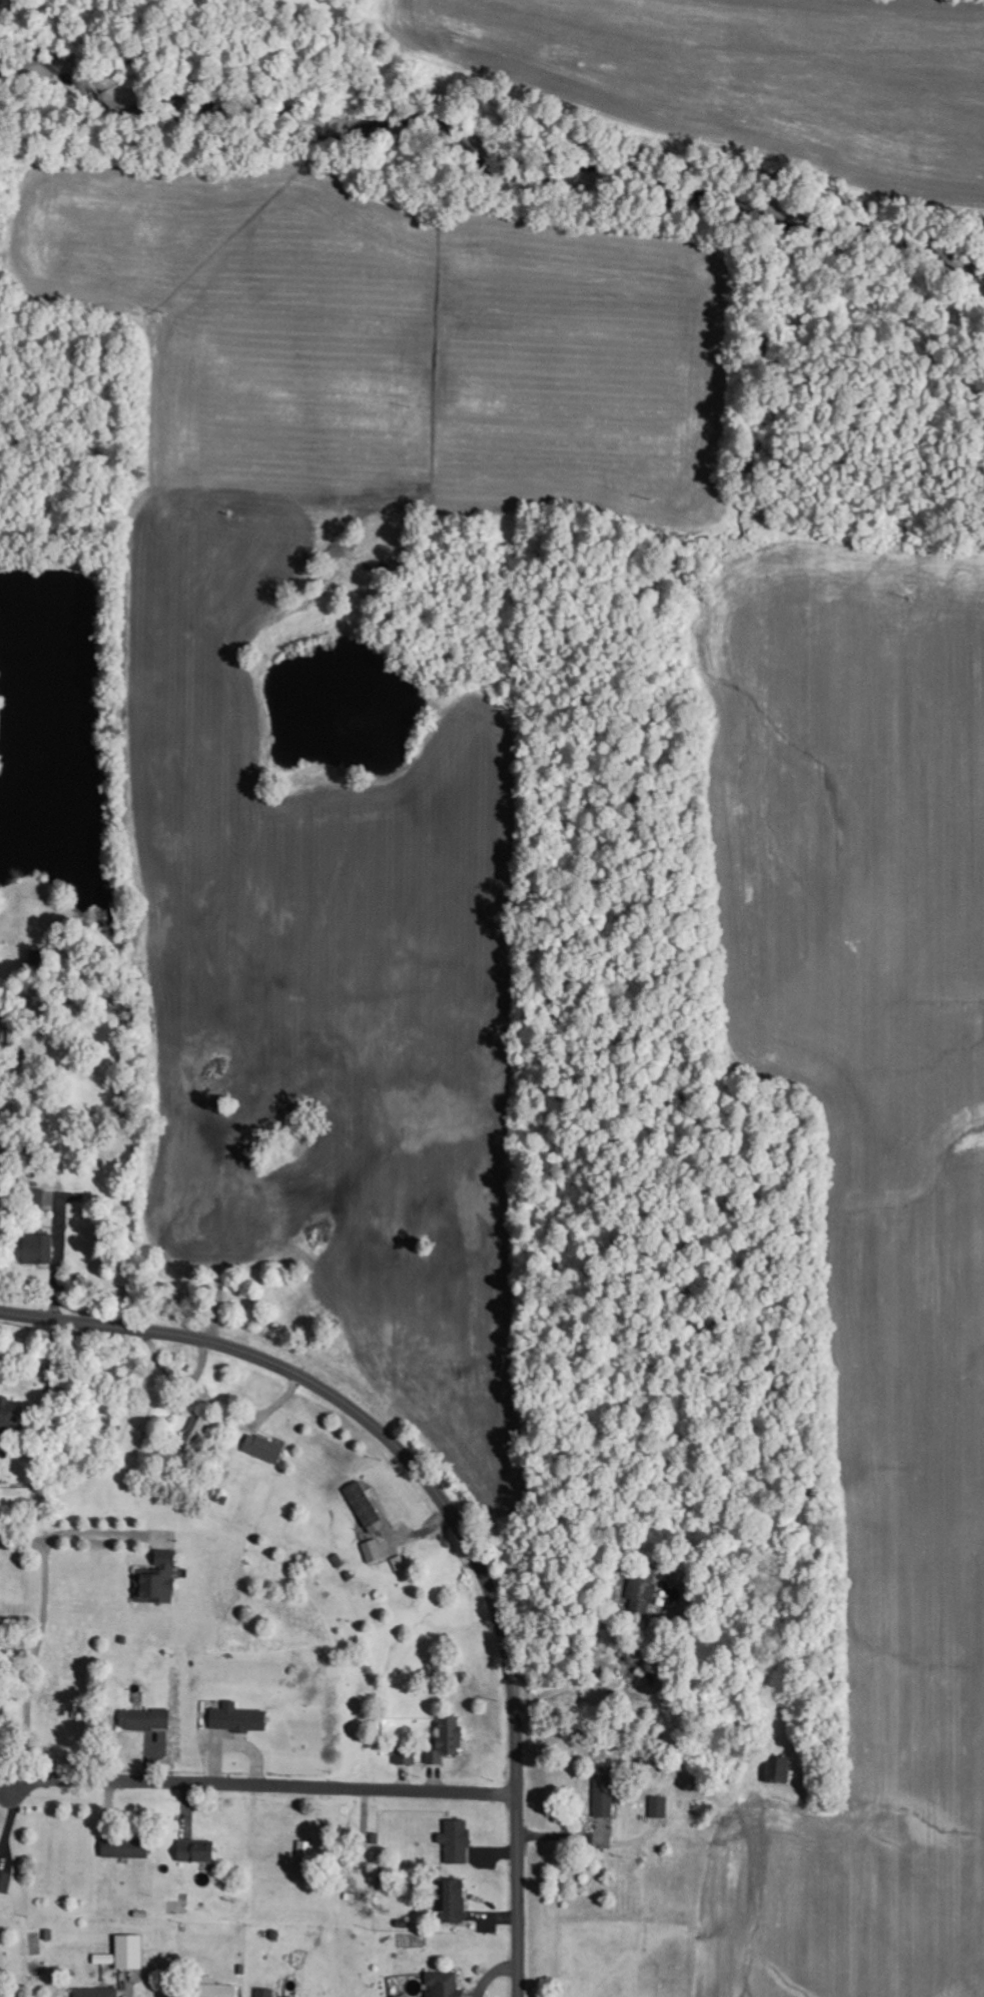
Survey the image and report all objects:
road: (39, 925)
building: (37, 1248)
building: (10, 1417)
building: (265, 1449)
road: (444, 1506)
building: (367, 1507)
building: (373, 1551)
building: (159, 1580)
building: (641, 1593)
building: (2, 1717)
building: (239, 1719)
building: (146, 1720)
building: (412, 1757)
road: (11, 1765)
building: (778, 1770)
road: (257, 1784)
building: (606, 1791)
building: (660, 1807)
building: (457, 1842)
building: (127, 1848)
building: (307, 1849)
building: (198, 1851)
building: (6, 1882)
building: (452, 1900)
building: (131, 1952)
building: (445, 1985)
building: (218, 1989)
building: (97, 1992)
building: (266, 1993)

